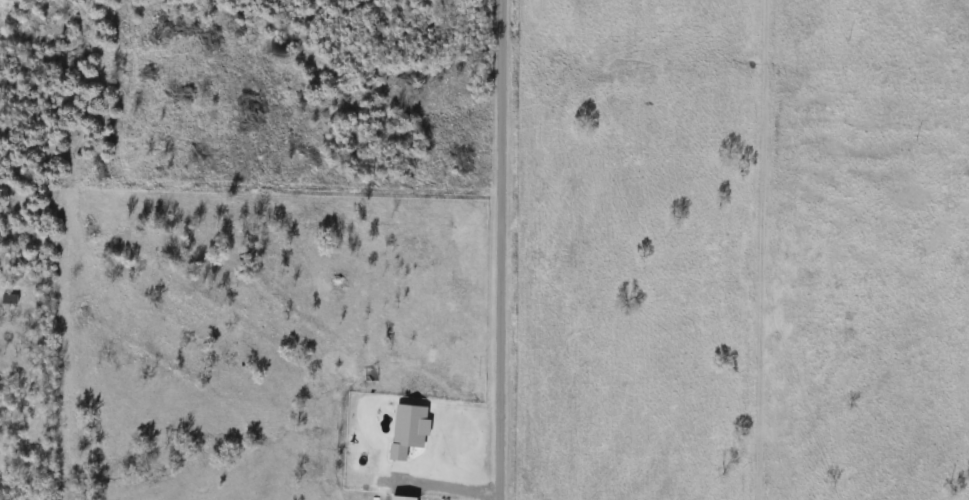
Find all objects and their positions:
road: (501, 250)
road: (446, 485)

